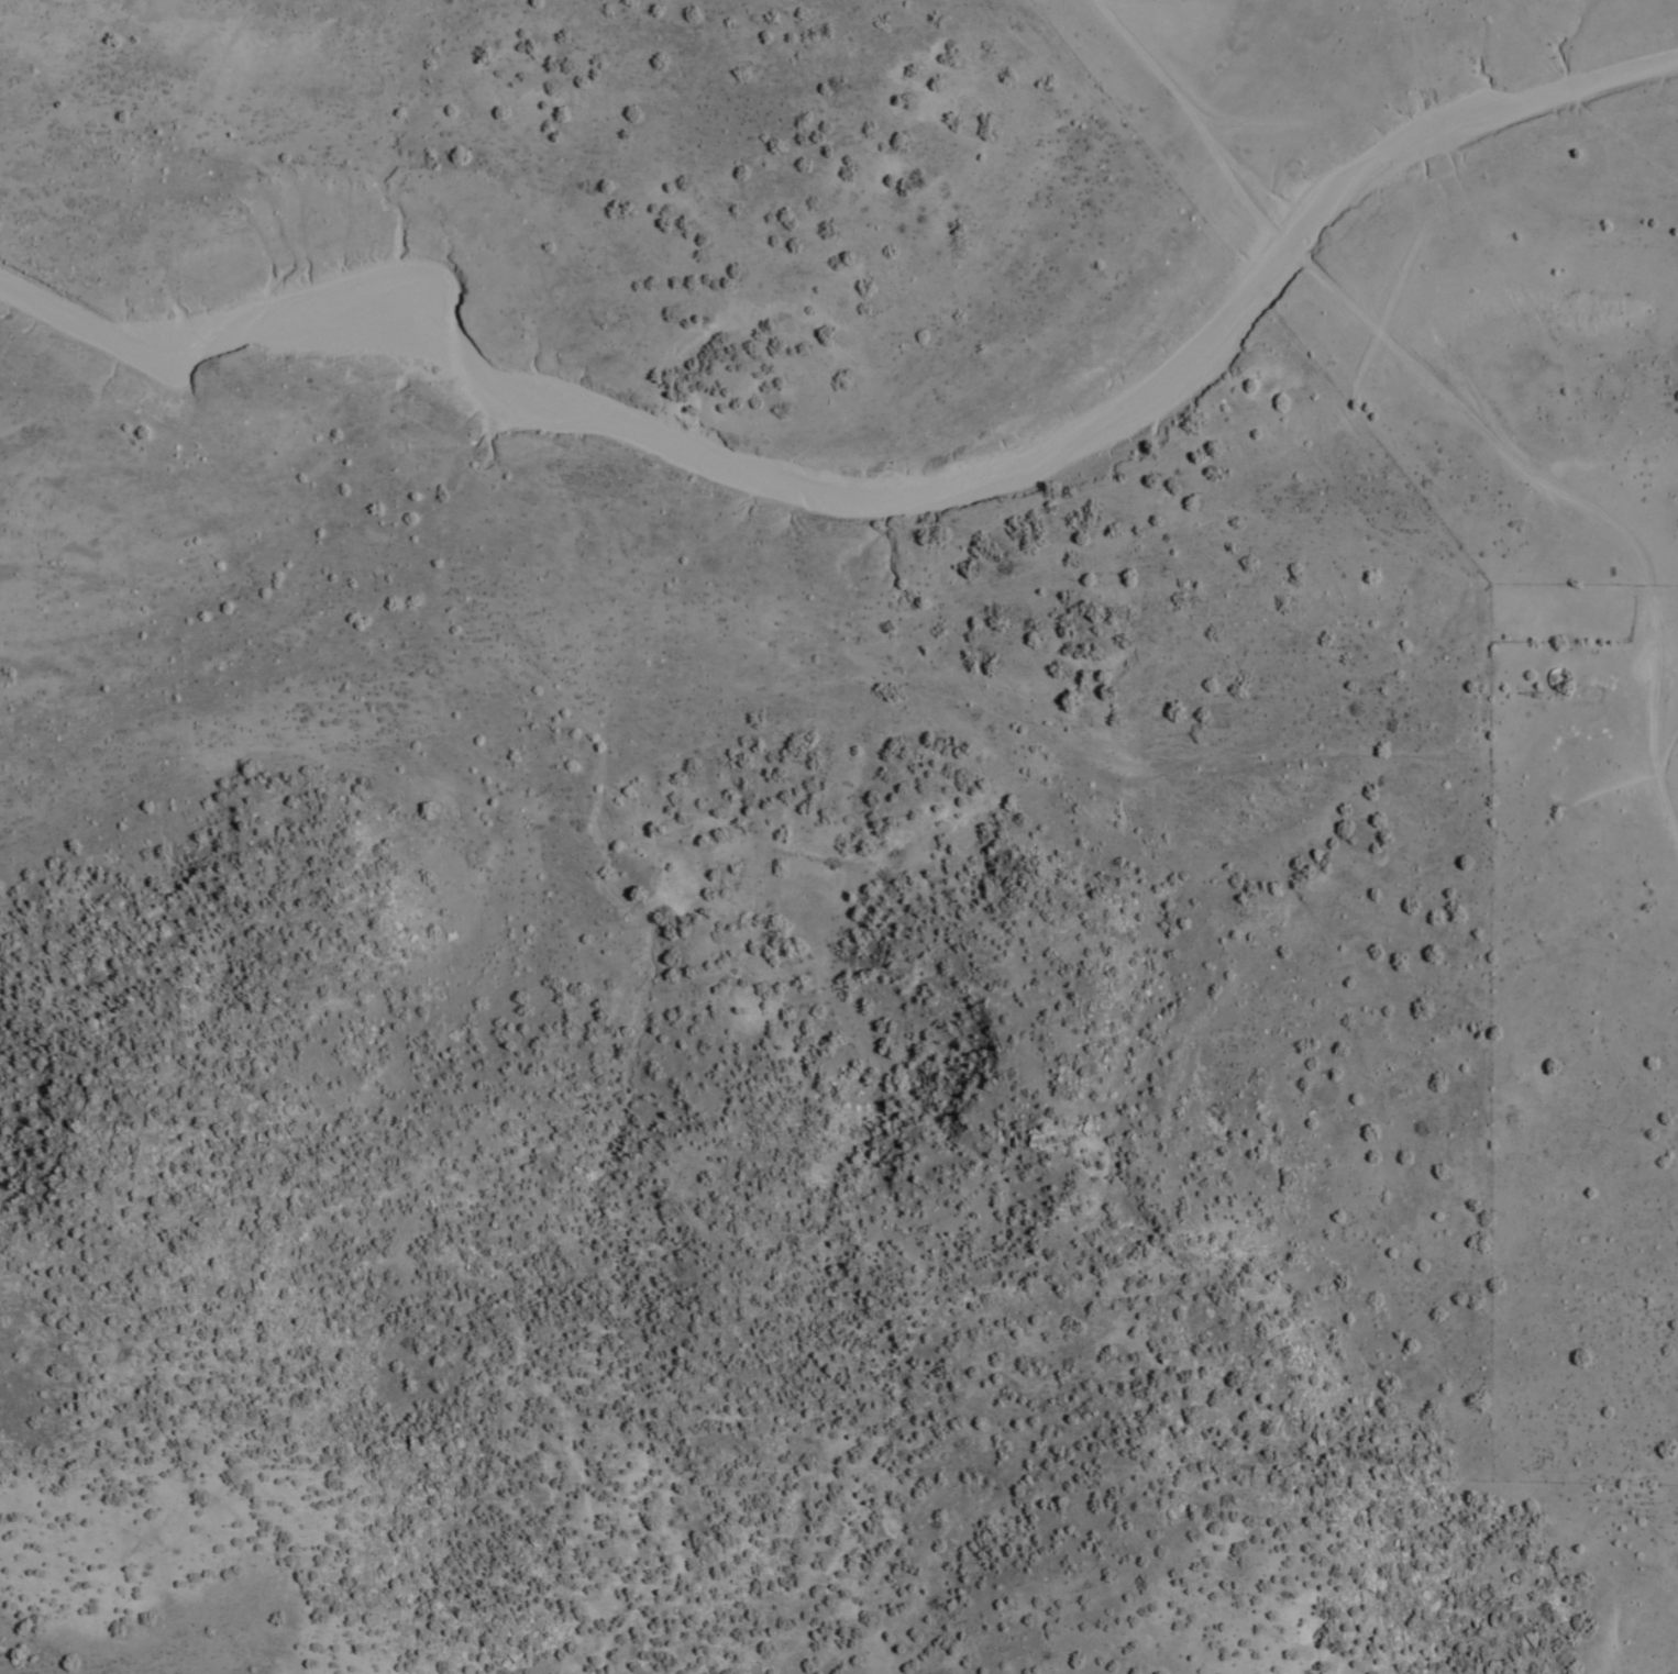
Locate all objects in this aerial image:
road: (1508, 414)

